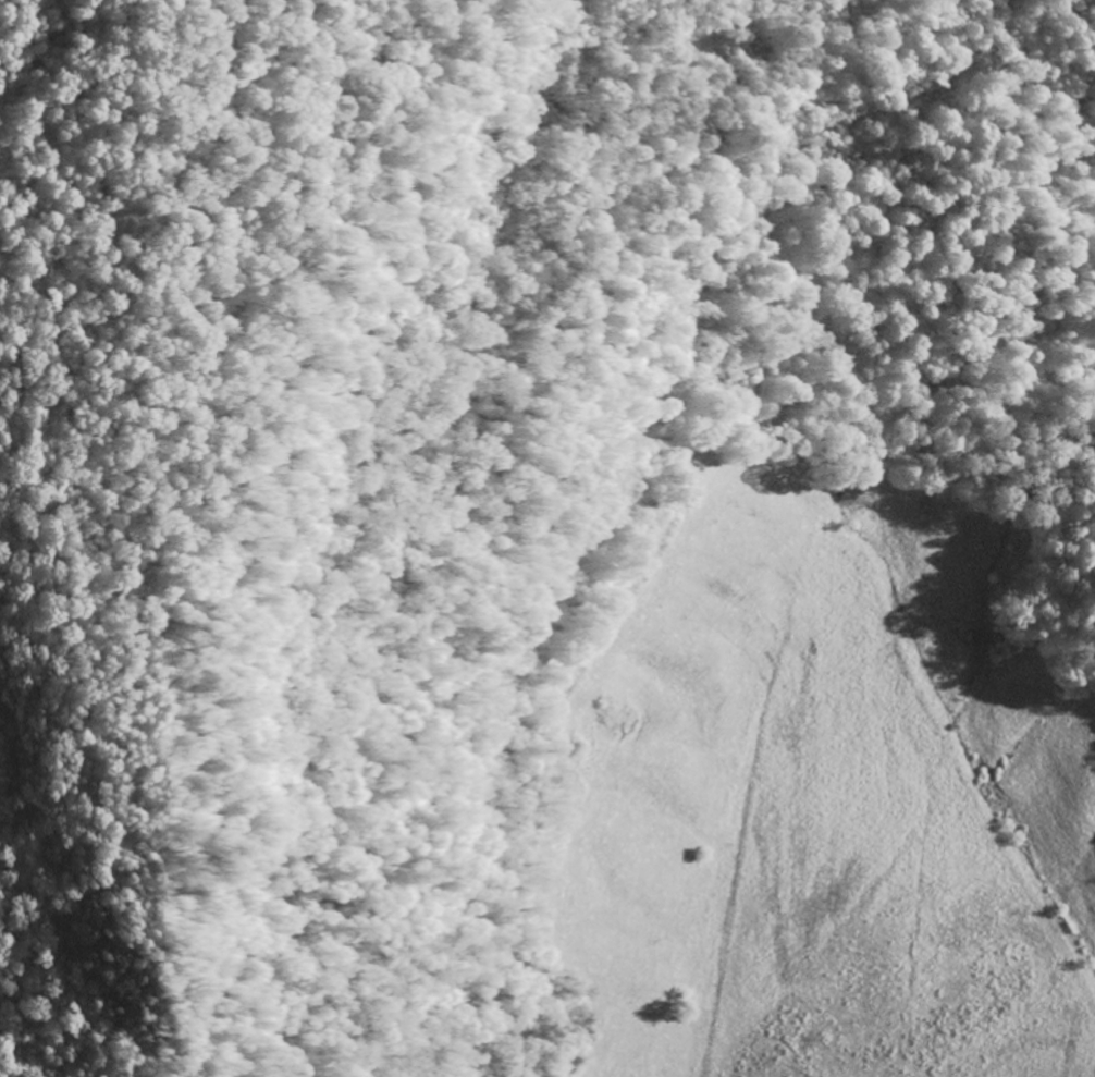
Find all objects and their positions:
road: (1005, 808)

